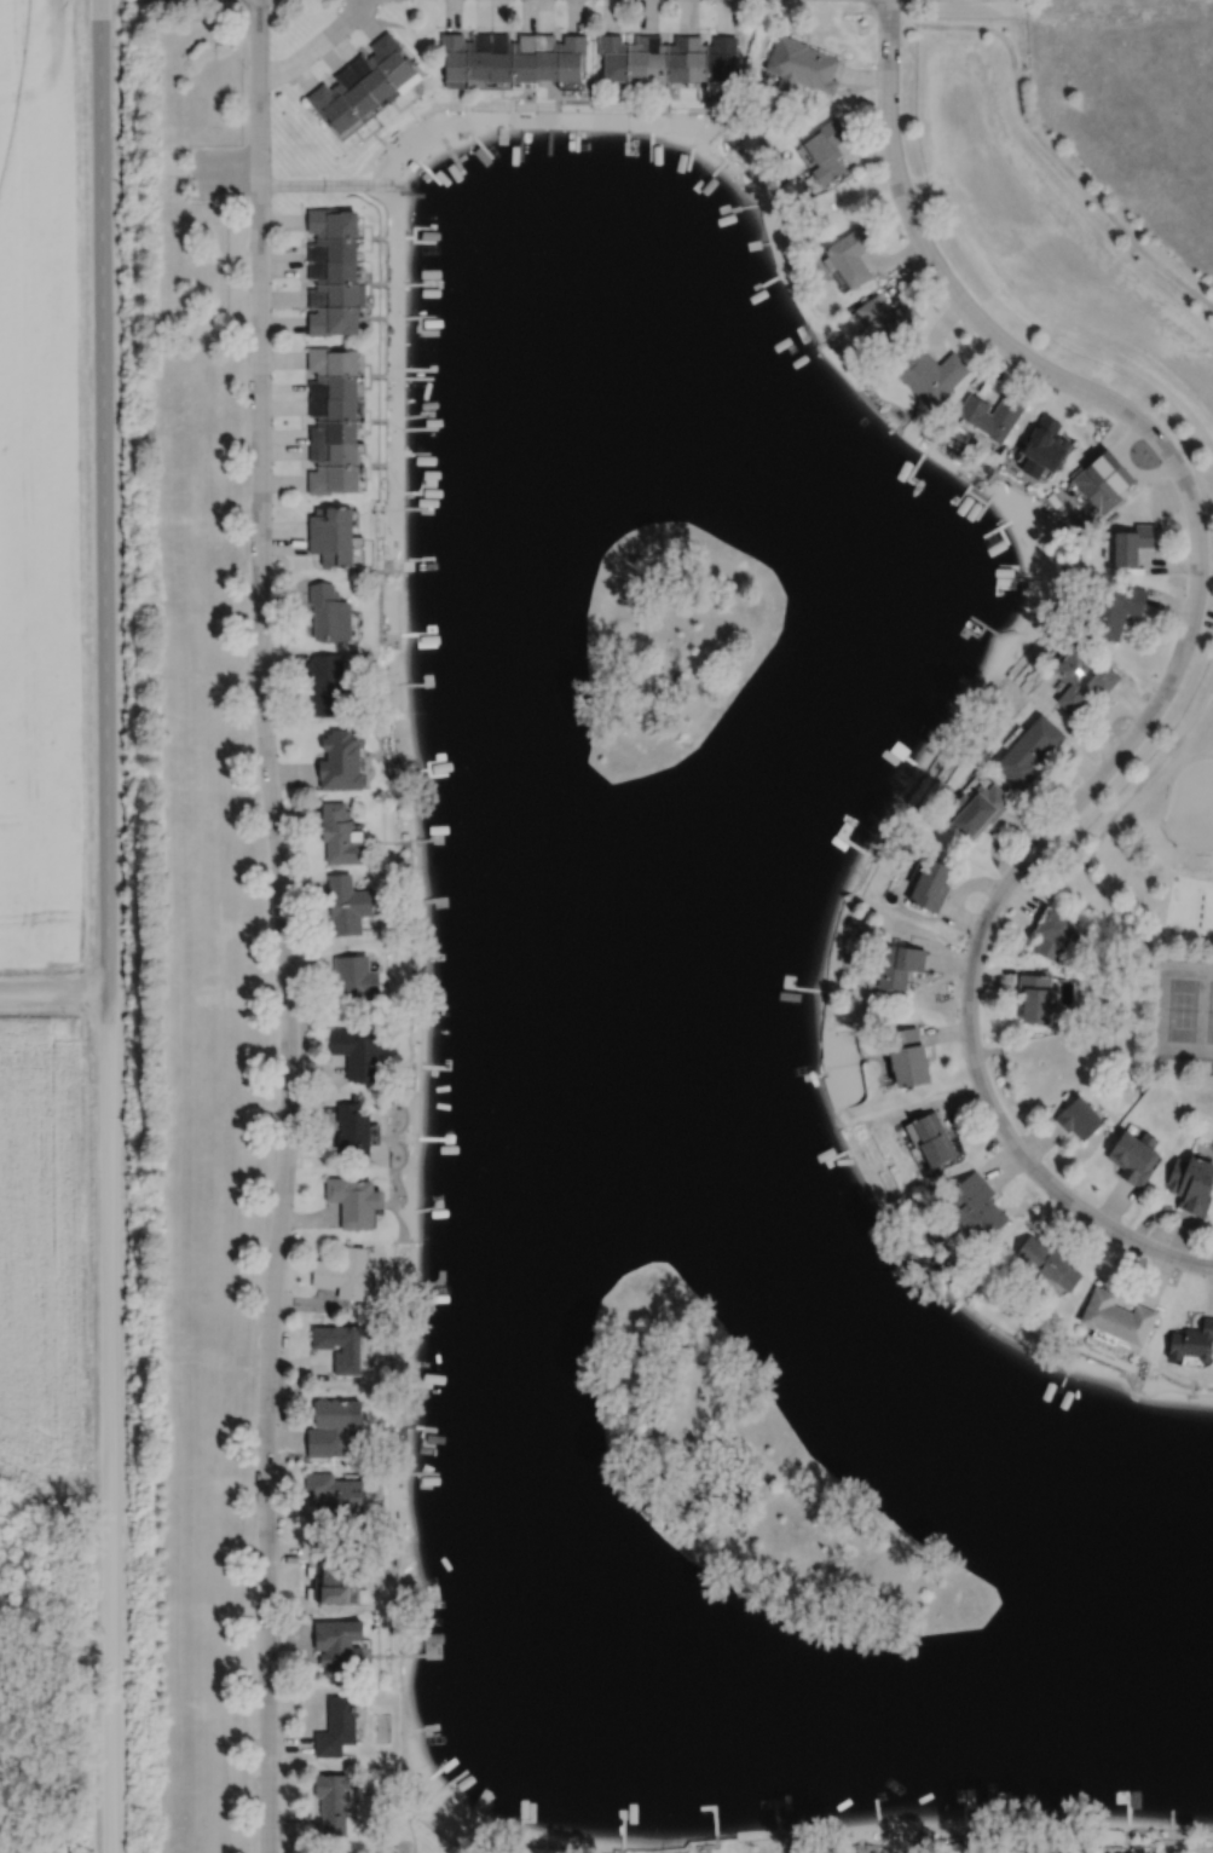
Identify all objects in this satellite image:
street lamp: (671, 1)
street lamp: (873, 16)
road: (316, 46)
building: (479, 56)
building: (499, 58)
building: (545, 58)
building: (570, 58)
building: (612, 58)
building: (637, 58)
building: (655, 59)
building: (676, 59)
building: (694, 59)
building: (454, 60)
building: (522, 62)
building: (718, 62)
building: (393, 63)
building: (801, 65)
street lamp: (246, 68)
building: (371, 77)
building: (356, 94)
building: (334, 111)
road: (1044, 142)
building: (826, 151)
road: (334, 184)
street lamp: (246, 202)
building: (331, 224)
street lamp: (903, 236)
building: (333, 250)
building: (848, 258)
building: (333, 272)
building: (336, 296)
road: (1080, 301)
building: (885, 318)
building: (333, 322)
building: (331, 360)
road: (1146, 375)
building: (930, 376)
building: (334, 386)
street lamp: (1052, 388)
building: (334, 408)
building: (990, 416)
building: (334, 431)
building: (1041, 446)
street lamp: (247, 448)
building: (334, 452)
building: (333, 478)
building: (1101, 479)
crop: (39, 489)
road: (103, 496)
building: (330, 521)
building: (1131, 542)
building: (333, 548)
street lamp: (1185, 573)
building: (1111, 608)
building: (329, 612)
park: (670, 642)
road: (1177, 662)
building: (1081, 680)
building: (327, 685)
street lamp: (250, 695)
building: (1026, 749)
street lamp: (1097, 757)
building: (342, 760)
road: (1131, 790)
park: (1190, 806)
building: (975, 809)
building: (340, 835)
park: (1153, 872)
building: (931, 887)
building: (347, 905)
road: (284, 925)
road: (1134, 933)
building: (1051, 934)
street lamp: (275, 941)
street lamp: (964, 941)
building: (899, 966)
building: (1044, 971)
building: (356, 979)
road: (54, 992)
building: (1032, 998)
park: (1185, 1009)
building: (358, 1055)
building: (906, 1057)
building: (1065, 1097)
building: (1076, 1119)
building: (353, 1127)
building: (931, 1135)
building: (1133, 1158)
building: (1190, 1184)
street lamp: (270, 1188)
building: (354, 1199)
building: (977, 1201)
crop: (39, 1241)
building: (1049, 1259)
street lamp: (1178, 1270)
building: (345, 1271)
building: (1119, 1315)
building: (1191, 1343)
building: (347, 1361)
road: (109, 1422)
building: (330, 1426)
street lamp: (254, 1435)
park: (752, 1476)
building: (336, 1495)
building: (337, 1576)
building: (339, 1645)
street lamp: (255, 1681)
building: (337, 1726)
building: (334, 1802)

